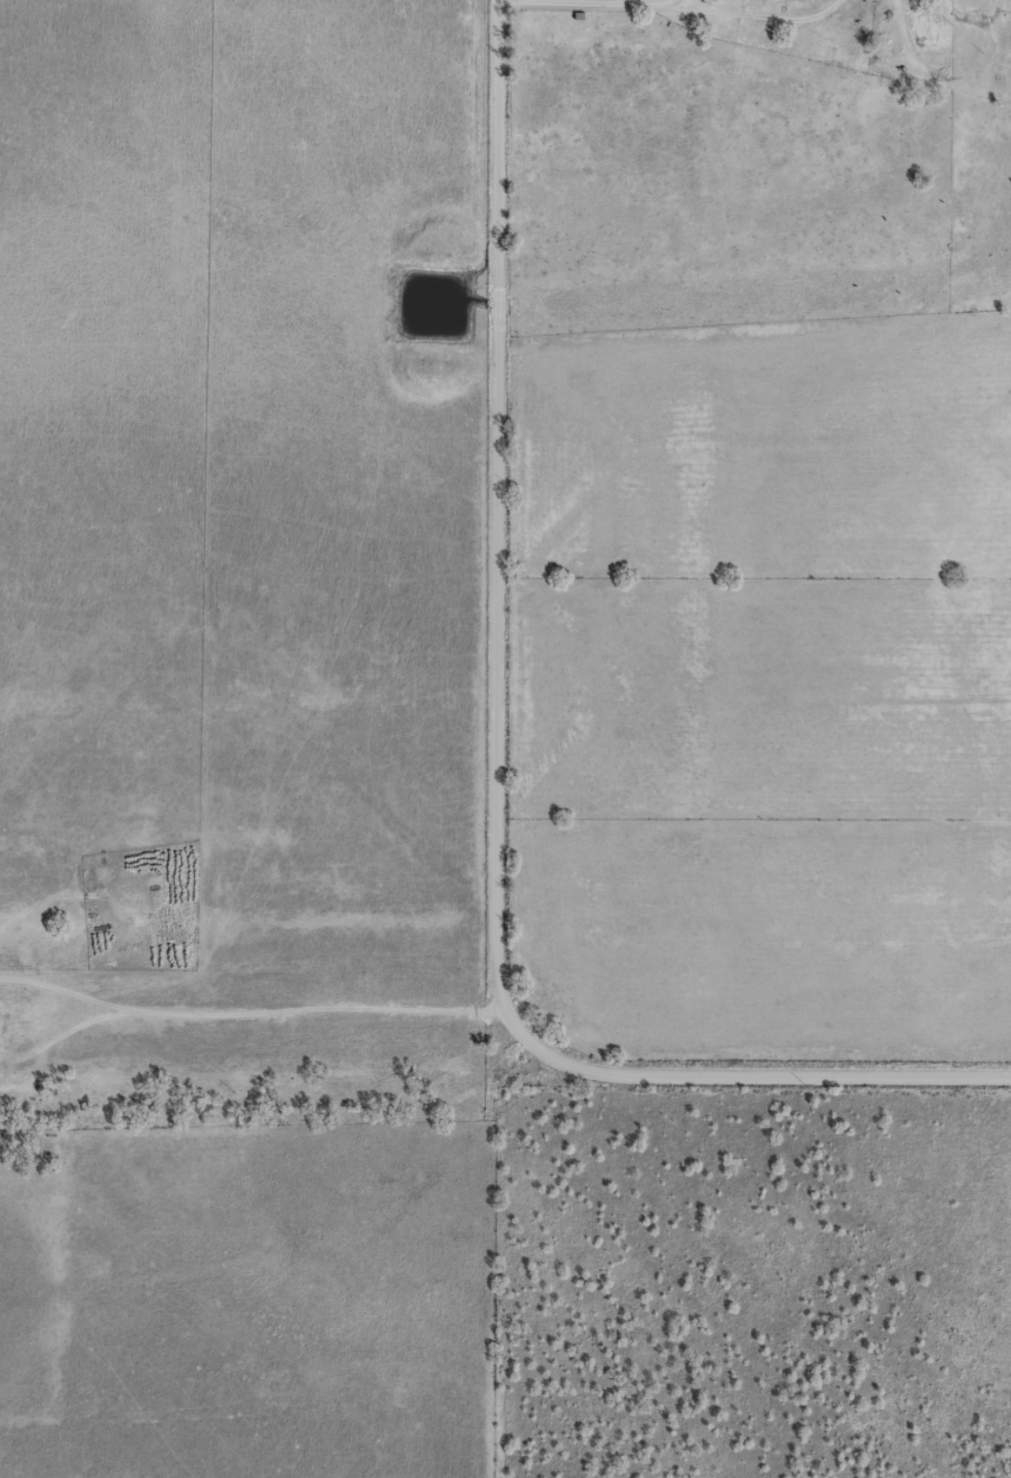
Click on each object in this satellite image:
road: (779, 23)
road: (498, 767)
road: (279, 996)
building: (11, 1014)

